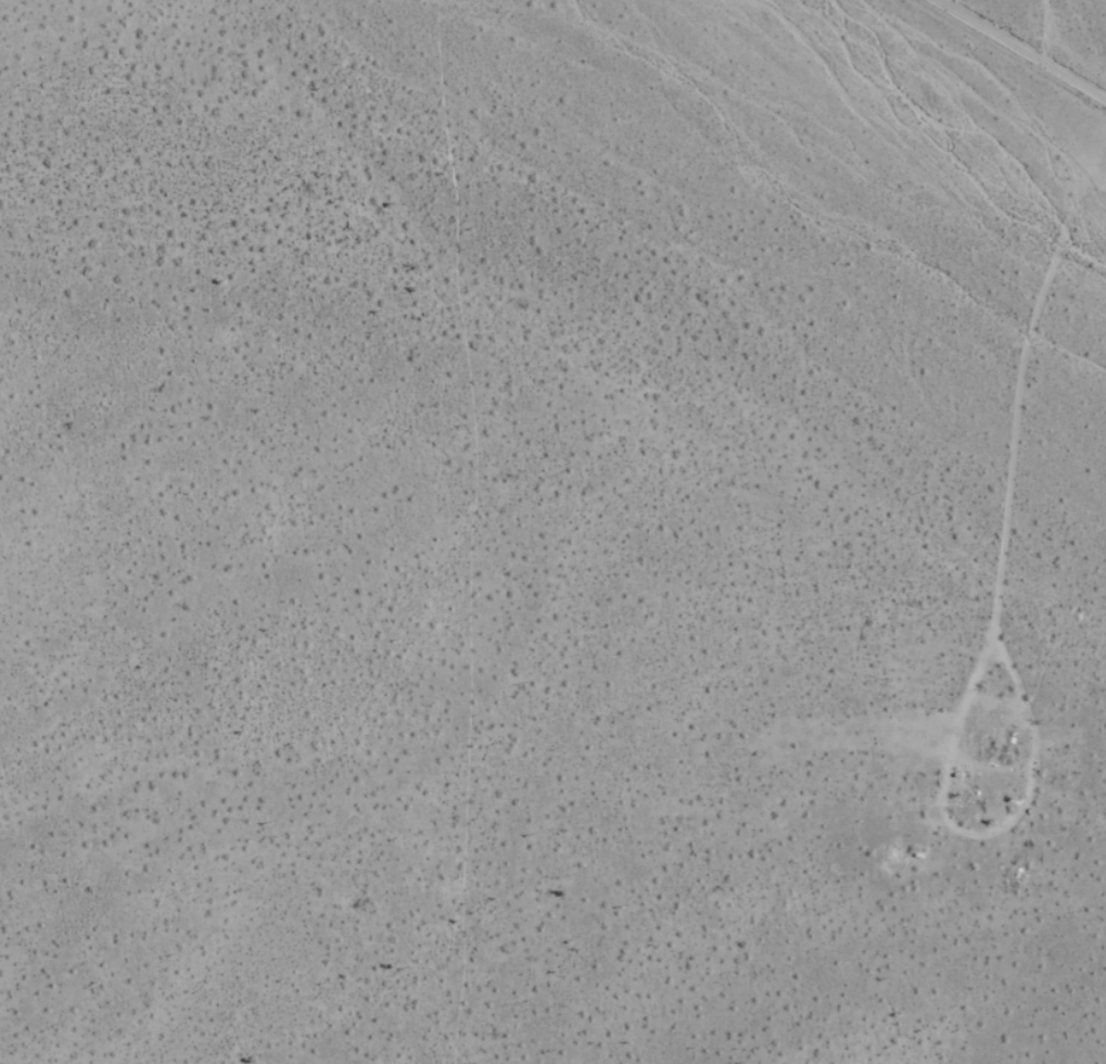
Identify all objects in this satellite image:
road: (1020, 49)

